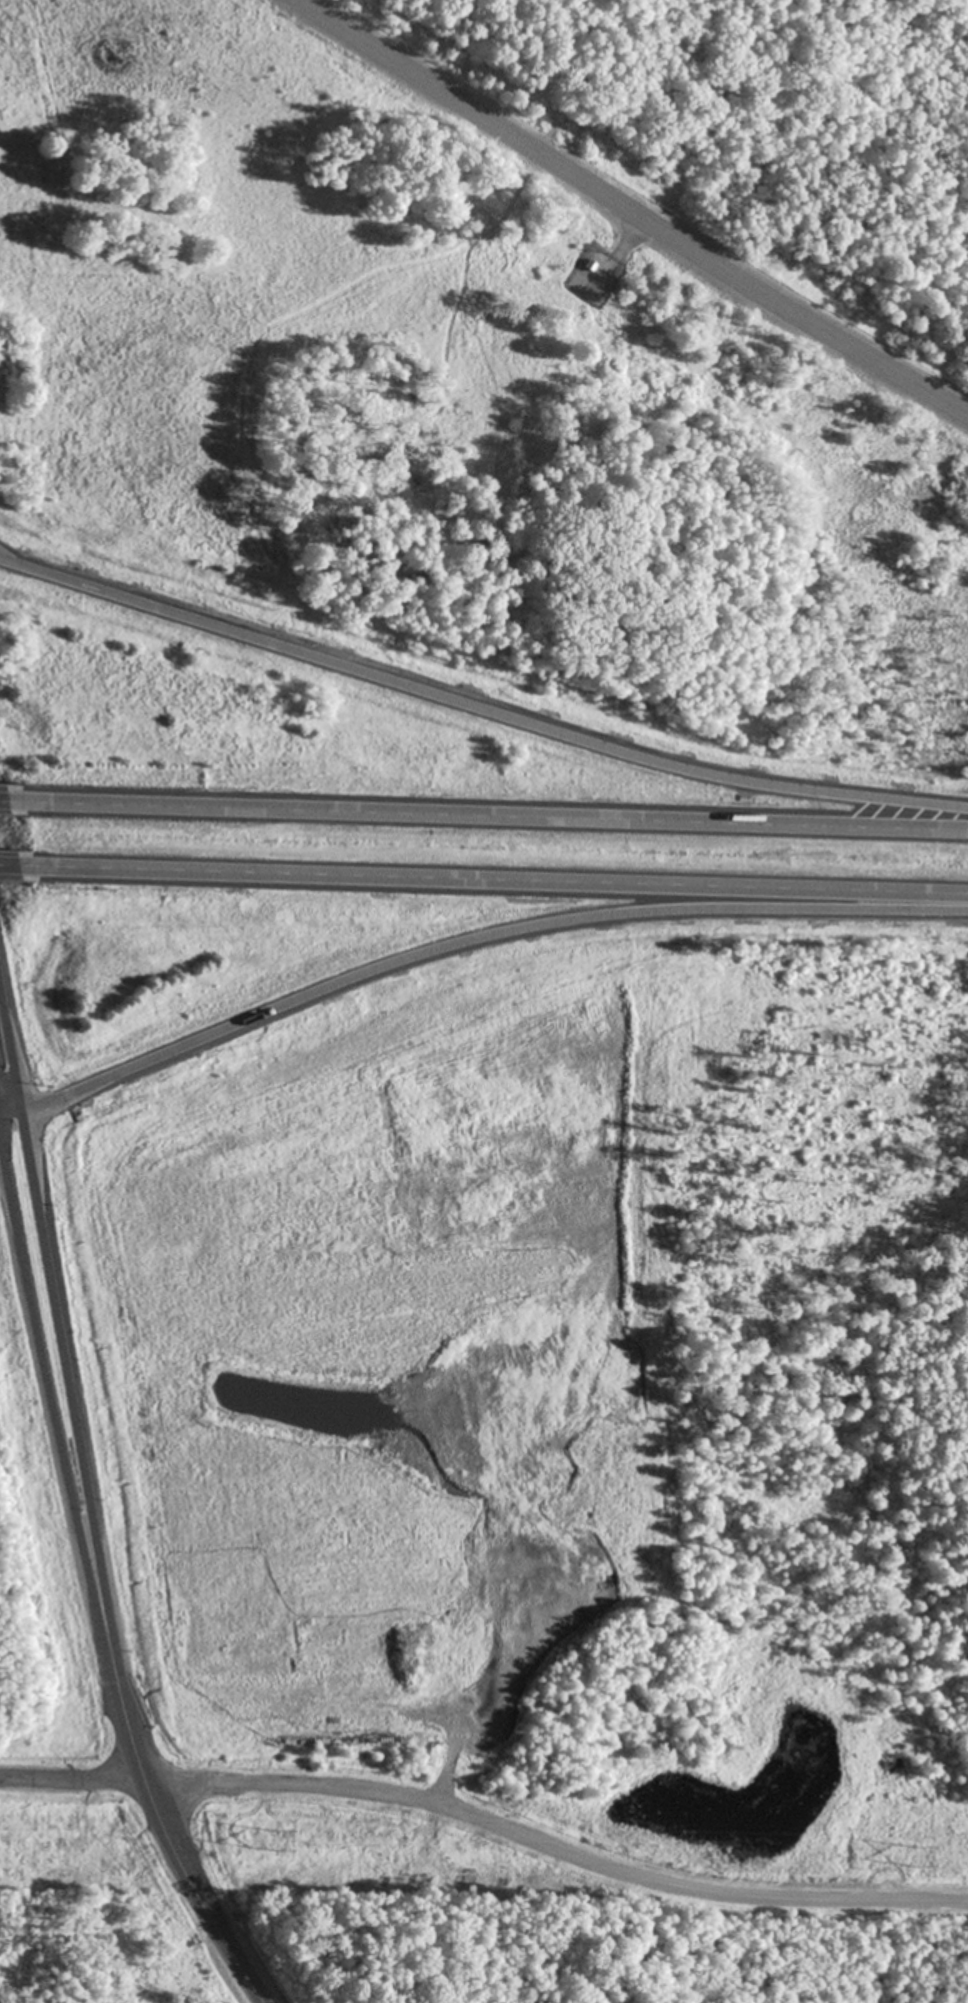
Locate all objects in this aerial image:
road: (630, 210)
building: (588, 266)
road: (478, 706)
road: (2, 799)
road: (486, 814)
road: (8, 863)
road: (491, 881)
road: (480, 938)
road: (13, 1043)
road: (2, 1114)
road: (15, 1121)
road: (2, 1124)
road: (5, 1151)
road: (4, 1172)
crop: (401, 1371)
road: (73, 1401)
road: (57, 1432)
road: (119, 1779)
road: (171, 1852)
road: (599, 1864)
building: (432, 1865)

